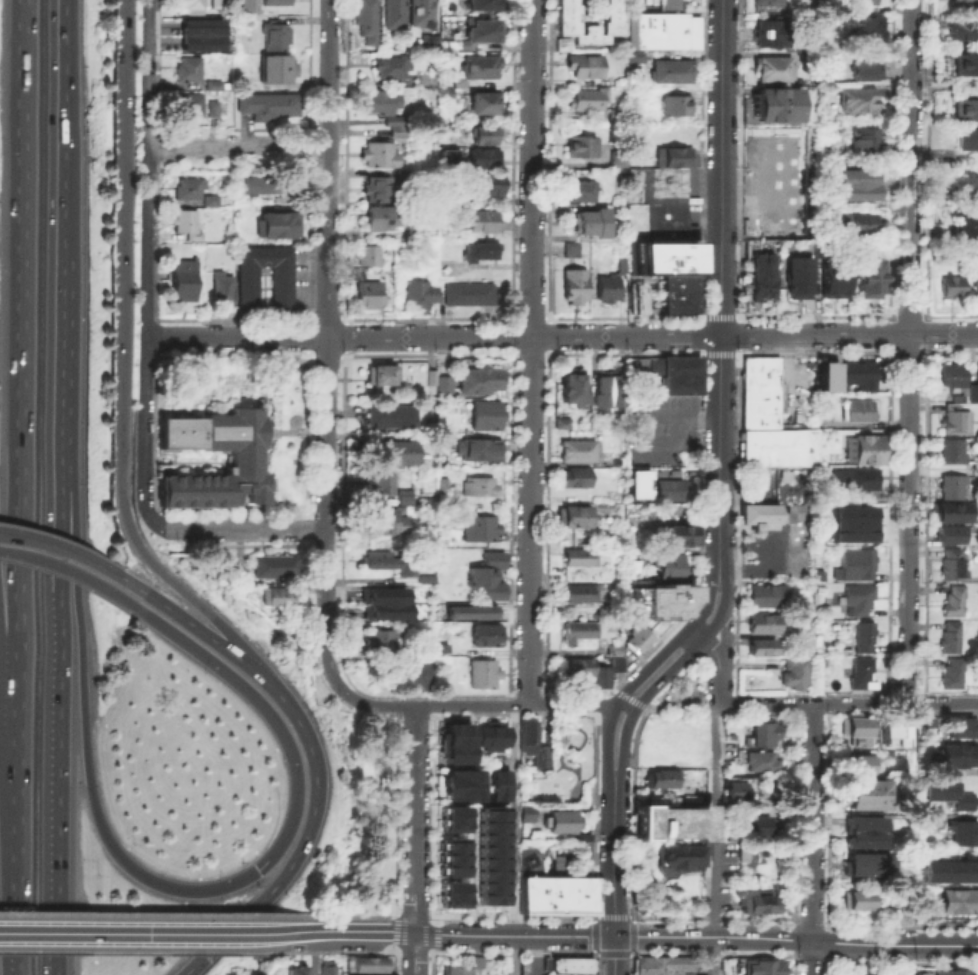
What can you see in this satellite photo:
building: (763, 2)
building: (962, 2)
building: (278, 3)
building: (860, 3)
building: (218, 4)
building: (669, 4)
building: (832, 4)
building: (489, 5)
building: (193, 6)
building: (248, 7)
building: (423, 13)
building: (395, 15)
building: (368, 17)
building: (567, 22)
building: (771, 26)
building: (866, 28)
building: (961, 30)
building: (660, 32)
building: (201, 33)
building: (483, 34)
building: (278, 37)
building: (823, 37)
building: (428, 39)
building: (770, 40)
building: (561, 42)
building: (433, 45)
building: (961, 65)
building: (394, 66)
building: (586, 66)
building: (863, 66)
building: (772, 68)
building: (191, 70)
building: (480, 70)
building: (279, 71)
building: (669, 72)
building: (826, 78)
building: (217, 86)
building: (443, 91)
building: (382, 101)
building: (589, 101)
building: (854, 101)
building: (481, 102)
building: (672, 105)
building: (775, 105)
building: (191, 107)
building: (270, 107)
building: (215, 110)
building: (961, 110)
building: (619, 117)
building: (396, 125)
road: (60, 132)
building: (483, 134)
building: (966, 139)
building: (861, 141)
road: (237, 145)
building: (582, 149)
building: (382, 156)
building: (448, 156)
building: (672, 157)
building: (486, 159)
building: (617, 159)
road: (327, 168)
building: (407, 177)
building: (855, 178)
building: (787, 183)
building: (654, 185)
building: (260, 187)
building: (488, 187)
building: (965, 188)
building: (578, 189)
building: (190, 191)
building: (379, 191)
building: (854, 194)
building: (213, 203)
building: (384, 220)
building: (788, 222)
building: (486, 223)
building: (656, 223)
building: (282, 224)
building: (593, 224)
building: (857, 224)
building: (189, 225)
building: (965, 227)
building: (418, 232)
building: (574, 251)
building: (482, 252)
building: (370, 257)
road: (145, 267)
building: (624, 268)
road: (721, 270)
building: (761, 277)
building: (797, 278)
building: (866, 278)
building: (838, 279)
building: (974, 281)
building: (185, 282)
building: (950, 286)
building: (224, 287)
building: (577, 288)
building: (609, 290)
building: (283, 293)
building: (471, 295)
building: (372, 296)
building: (680, 296)
building: (421, 298)
building: (636, 298)
building: (743, 304)
road: (652, 334)
road: (236, 338)
road: (908, 350)
road: (531, 352)
road: (124, 361)
building: (856, 373)
building: (826, 375)
building: (950, 375)
building: (384, 376)
building: (680, 376)
road: (58, 377)
building: (432, 379)
building: (482, 382)
building: (610, 384)
building: (445, 389)
building: (972, 389)
building: (760, 396)
building: (262, 402)
building: (858, 411)
building: (488, 417)
building: (394, 418)
building: (561, 422)
building: (439, 423)
building: (958, 424)
parking lot: (661, 439)
building: (778, 449)
building: (866, 450)
building: (481, 452)
building: (581, 452)
building: (955, 452)
building: (402, 454)
building: (247, 462)
building: (976, 465)
building: (976, 472)
building: (576, 480)
building: (860, 480)
building: (638, 483)
road: (325, 484)
building: (382, 485)
building: (446, 486)
road: (20, 487)
building: (482, 487)
building: (955, 488)
building: (675, 492)
building: (616, 497)
building: (826, 505)
building: (954, 514)
building: (393, 516)
building: (761, 516)
building: (579, 518)
building: (863, 518)
road: (243, 526)
building: (482, 530)
road: (58, 537)
building: (683, 537)
building: (954, 537)
building: (854, 539)
road: (21, 547)
building: (583, 559)
road: (88, 560)
building: (388, 561)
building: (853, 565)
building: (953, 565)
building: (276, 567)
building: (673, 569)
building: (240, 570)
road: (762, 570)
building: (491, 576)
building: (425, 578)
road: (85, 579)
building: (381, 594)
building: (587, 595)
building: (855, 597)
building: (276, 598)
building: (768, 598)
building: (668, 601)
building: (957, 602)
building: (383, 610)
building: (468, 611)
road: (71, 622)
road: (193, 626)
building: (765, 626)
road: (684, 631)
building: (584, 633)
building: (793, 634)
road: (705, 635)
road: (726, 635)
building: (490, 637)
building: (861, 637)
building: (953, 638)
building: (642, 639)
building: (381, 643)
building: (764, 649)
road: (717, 659)
road: (325, 661)
building: (599, 670)
building: (860, 672)
building: (797, 674)
building: (956, 675)
building: (486, 676)
road: (7, 677)
building: (411, 678)
road: (689, 689)
road: (633, 700)
road: (849, 702)
road: (375, 703)
road: (525, 704)
road: (699, 704)
building: (925, 719)
building: (854, 726)
building: (960, 726)
building: (759, 730)
building: (453, 732)
building: (483, 735)
building: (498, 735)
building: (531, 742)
building: (453, 752)
building: (956, 754)
road: (606, 756)
road: (624, 758)
building: (759, 758)
building: (856, 764)
building: (524, 774)
building: (459, 775)
building: (497, 776)
building: (660, 778)
road: (55, 779)
building: (862, 787)
building: (734, 789)
building: (460, 791)
building: (497, 792)
building: (949, 792)
building: (862, 802)
building: (536, 808)
building: (526, 812)
building: (643, 812)
road: (415, 817)
building: (453, 818)
building: (927, 818)
road: (715, 819)
building: (560, 820)
building: (676, 822)
building: (755, 823)
building: (859, 824)
building: (729, 830)
building: (961, 830)
building: (534, 833)
road: (285, 835)
building: (582, 835)
road: (307, 836)
road: (812, 839)
road: (514, 840)
building: (858, 840)
building: (490, 854)
building: (679, 854)
building: (452, 856)
building: (557, 861)
building: (861, 861)
traffic signals: (258, 868)
building: (947, 870)
road: (615, 871)
building: (452, 893)
building: (554, 894)
building: (755, 898)
building: (956, 900)
building: (851, 901)
building: (703, 904)
road: (158, 913)
road: (355, 914)
road: (414, 914)
road: (513, 915)
road: (604, 916)
road: (357, 929)
road: (17, 930)
road: (167, 931)
road: (394, 933)
road: (433, 933)
road: (515, 933)
road: (594, 934)
road: (796, 940)
road: (633, 944)
road: (157, 950)
road: (353, 951)
road: (412, 951)
road: (313, 952)
road: (414, 952)
road: (513, 952)
road: (614, 955)
road: (714, 956)
road: (909, 960)
building: (365, 963)
building: (568, 964)
building: (674, 964)
building: (461, 965)
building: (645, 965)
building: (760, 966)
building: (325, 968)
building: (293, 970)
building: (953, 972)
building: (365, 974)
building: (694, 974)

